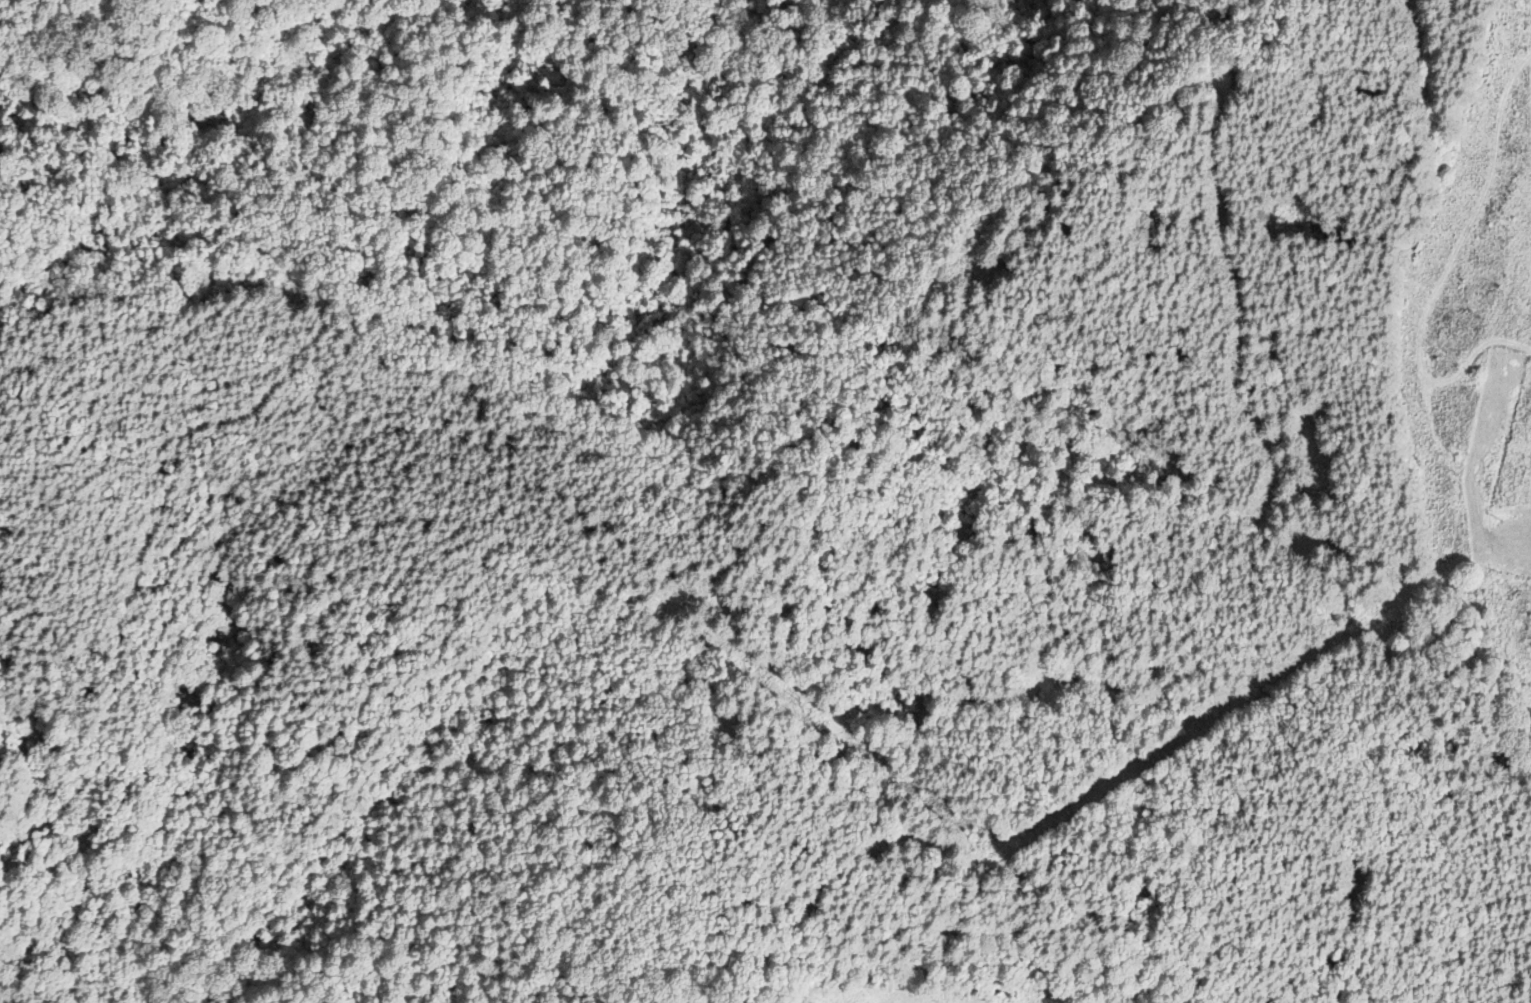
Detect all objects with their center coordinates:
park: (1319, 477)

